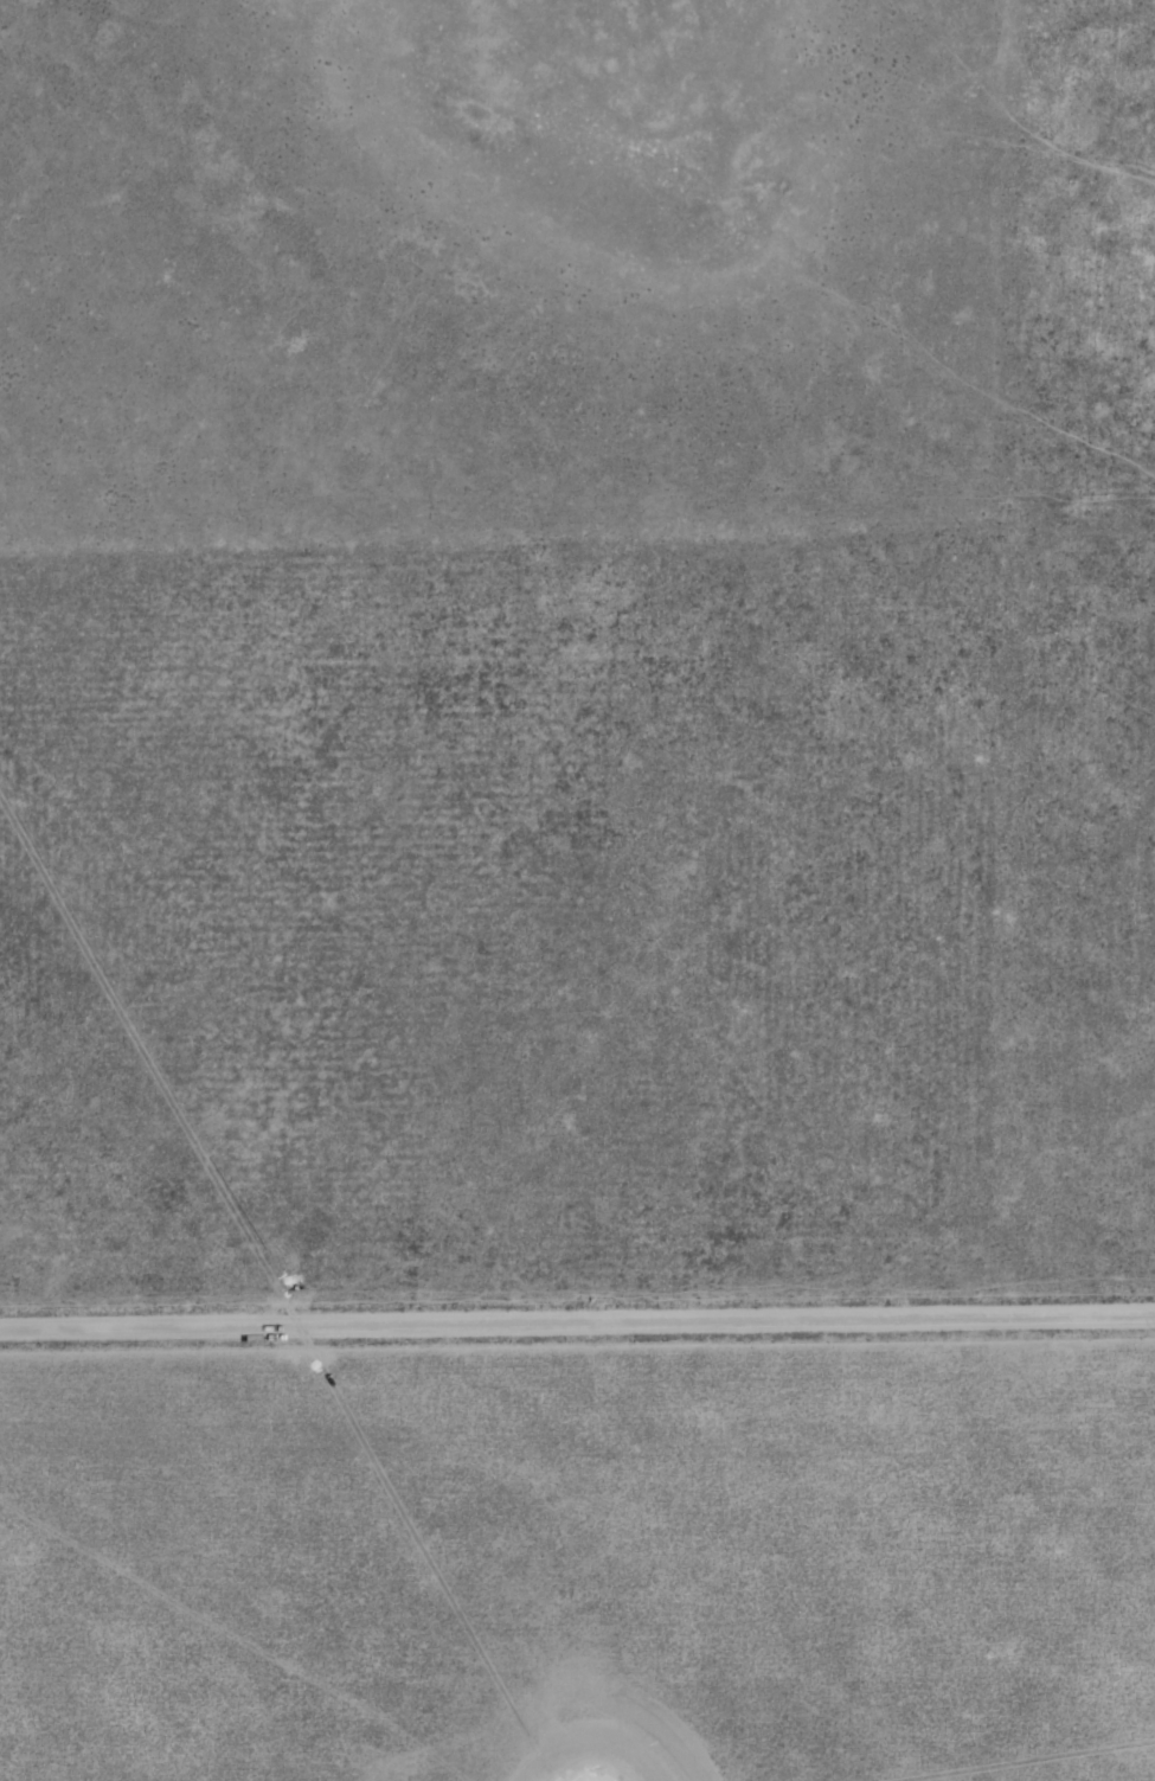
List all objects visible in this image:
road: (577, 1328)

